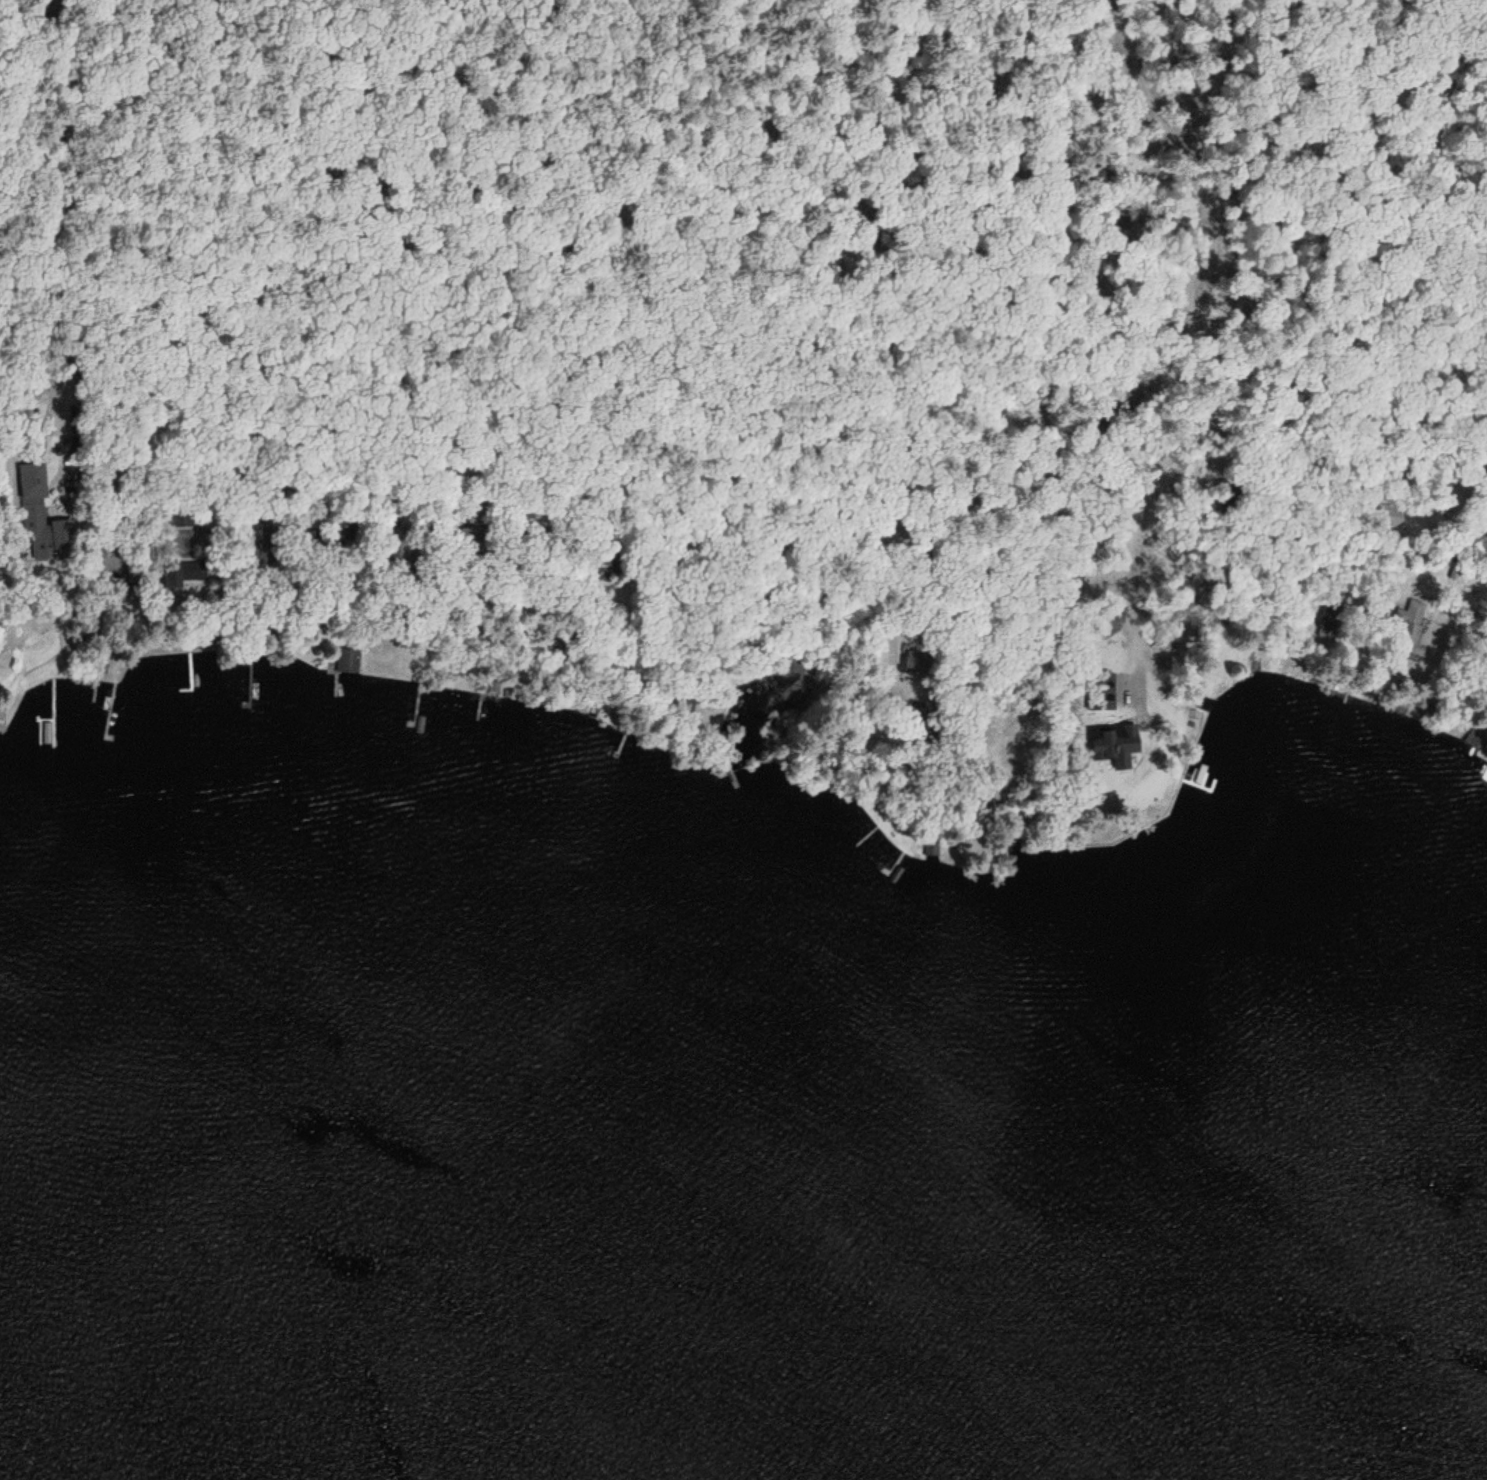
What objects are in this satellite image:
road: (1400, 69)
road: (937, 83)
road: (1002, 84)
road: (1469, 87)
road: (1063, 107)
road: (589, 110)
road: (1214, 111)
road: (1326, 112)
road: (686, 120)
road: (767, 135)
road: (71, 221)
road: (324, 241)
road: (524, 243)
road: (1164, 259)
road: (199, 282)
road: (886, 358)
road: (980, 511)
building: (34, 514)
building: (179, 517)
road: (1479, 540)
building: (397, 543)
building: (607, 554)
building: (107, 557)
building: (184, 575)
building: (1328, 618)
building: (1407, 626)
building: (347, 661)
building: (915, 661)
building: (0, 720)

